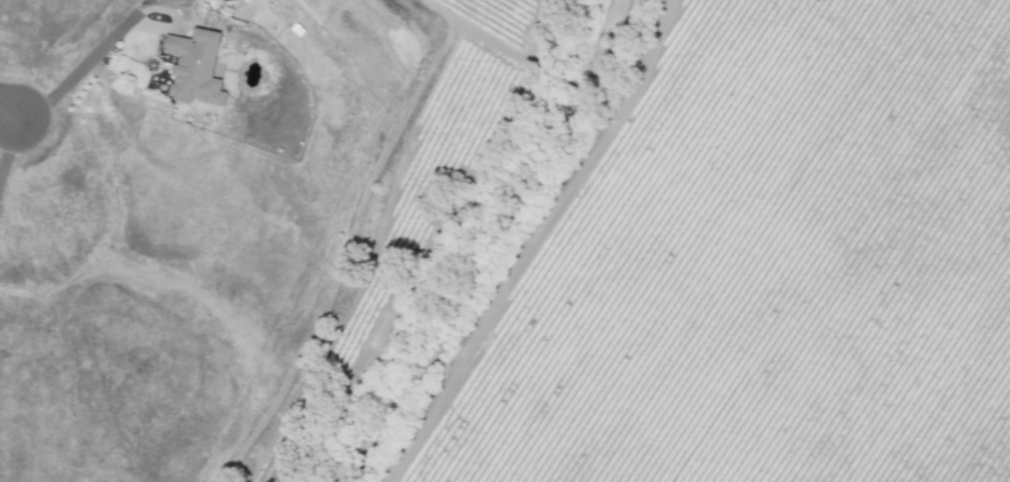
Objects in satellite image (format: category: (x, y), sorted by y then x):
building: (195, 67)
road: (78, 71)
road: (8, 110)
road: (8, 123)
road: (9, 145)

